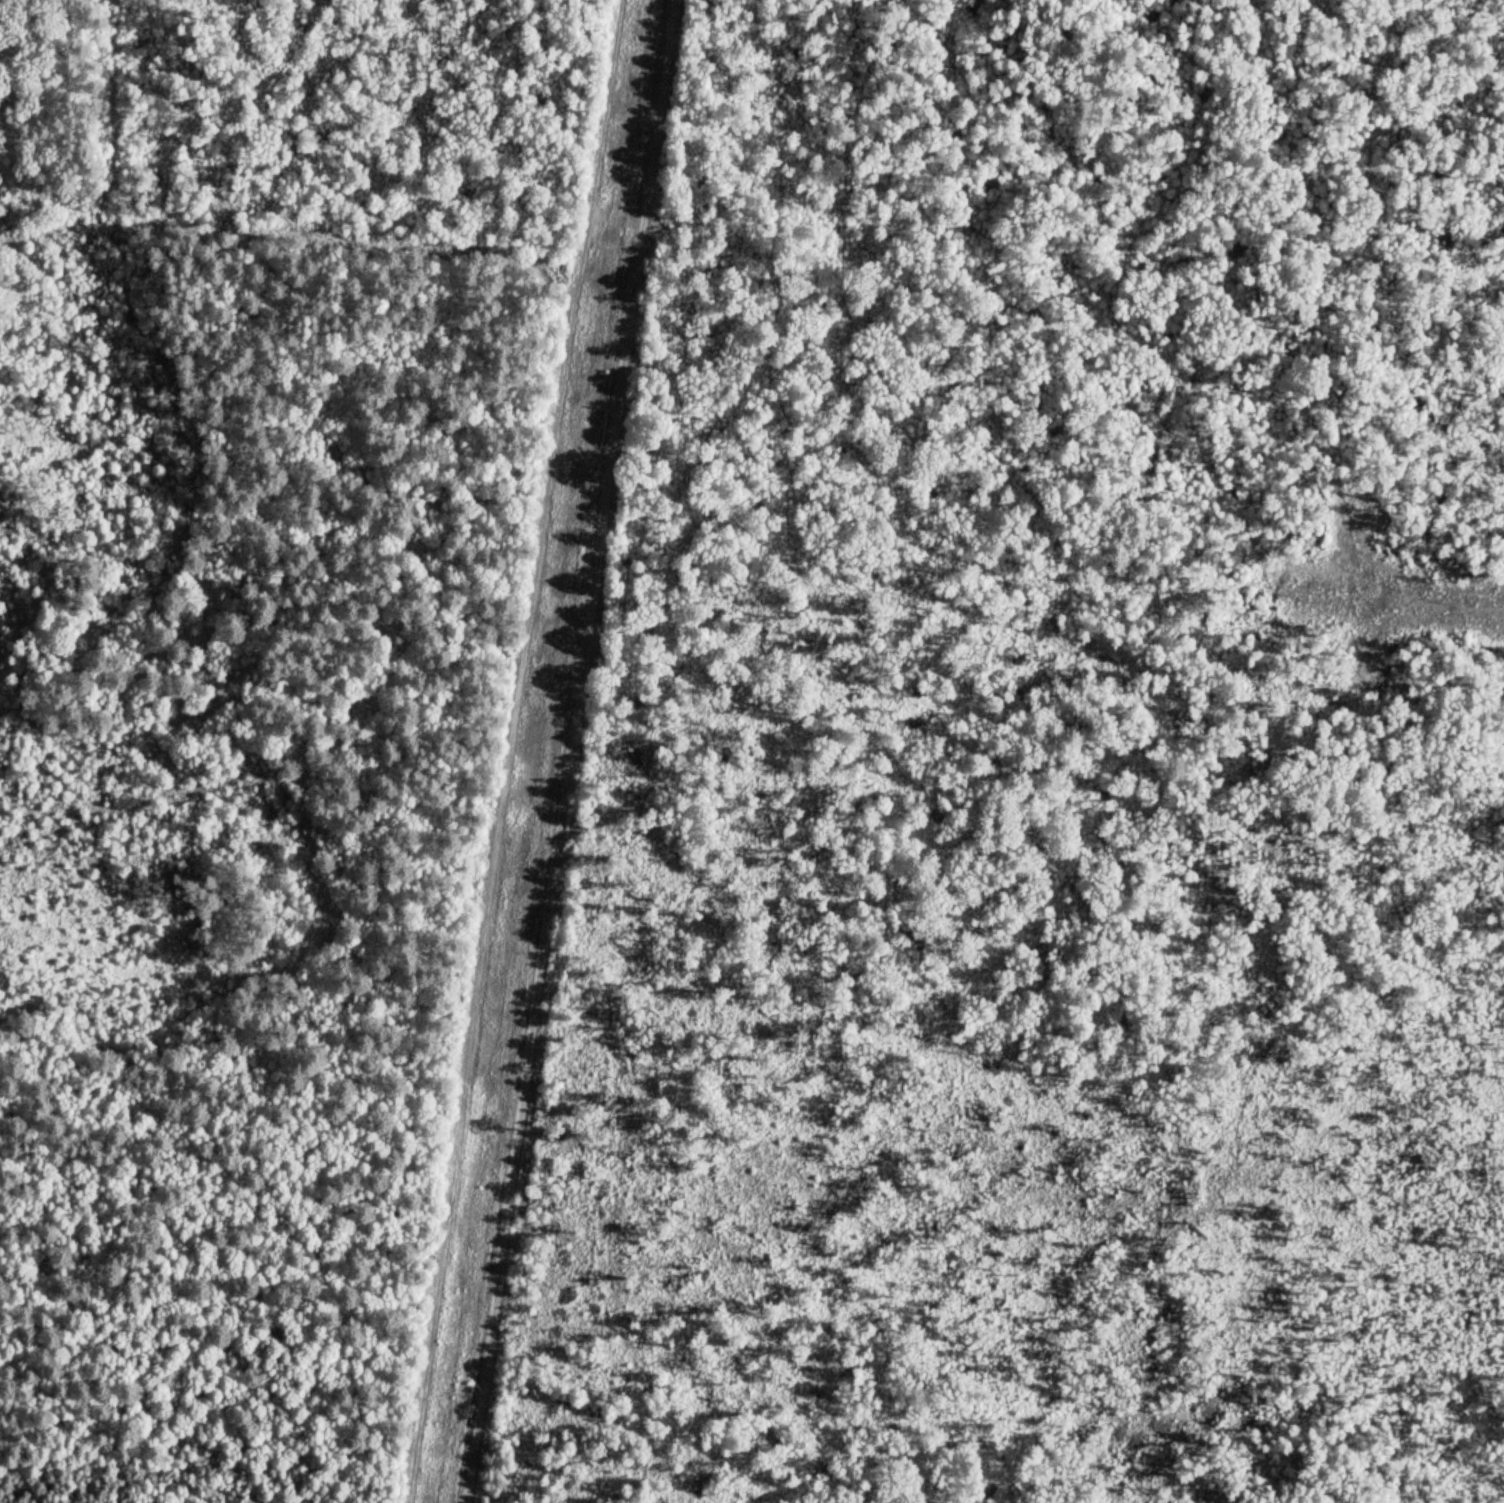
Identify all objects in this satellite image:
road: (574, 751)

